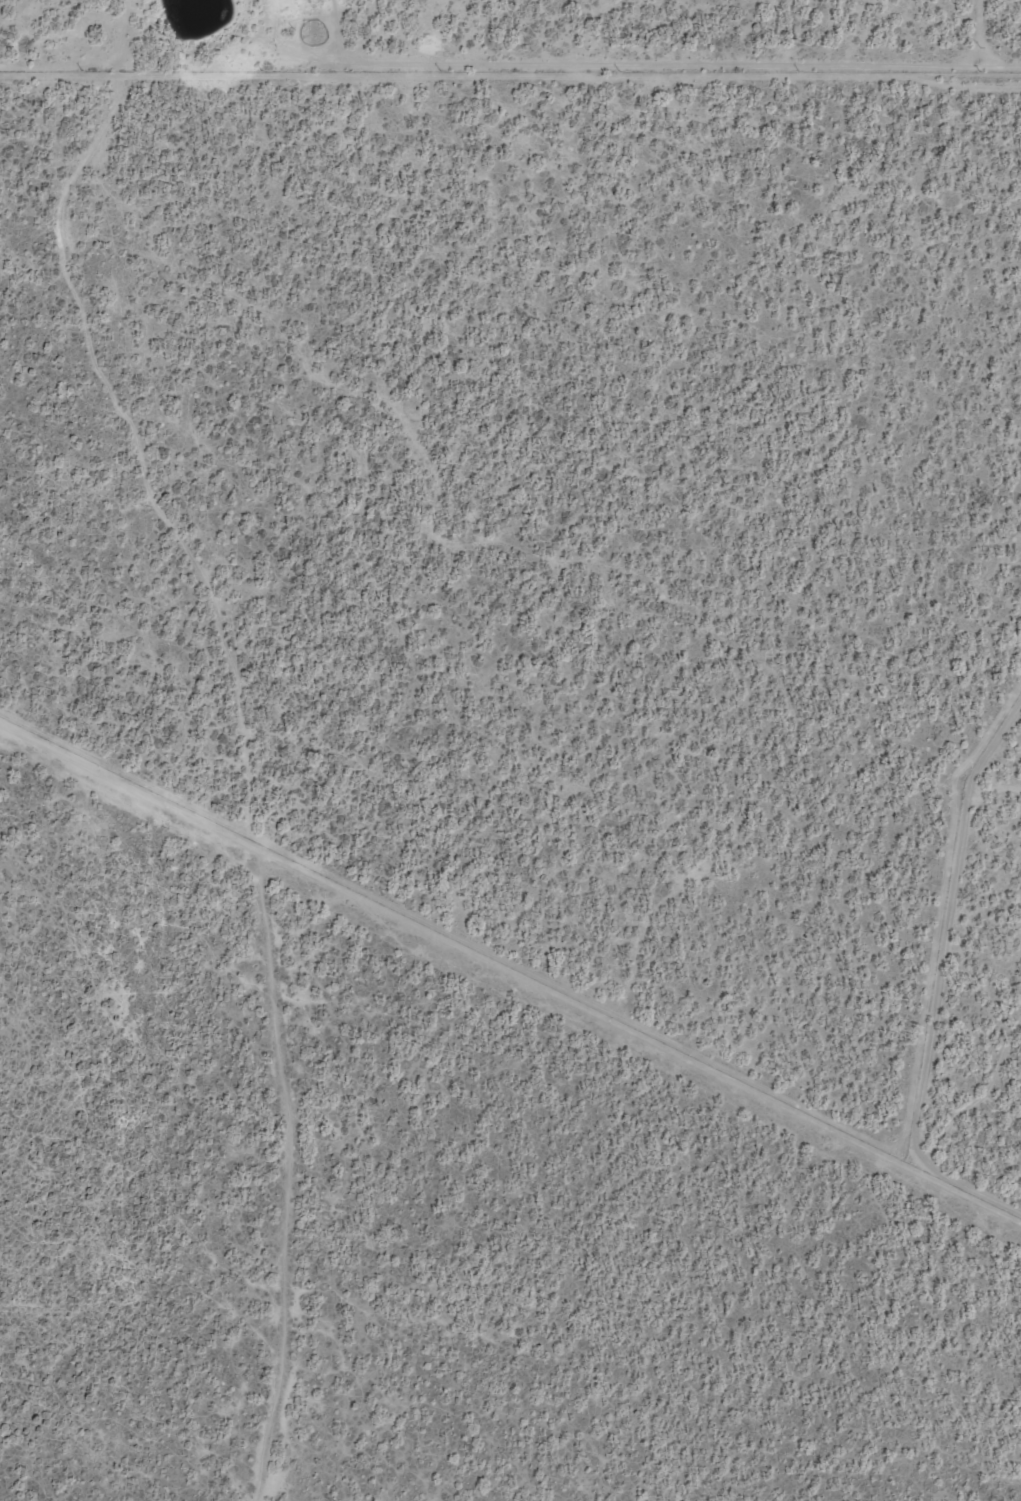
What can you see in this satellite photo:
road: (58, 239)
road: (510, 962)
road: (288, 1195)

